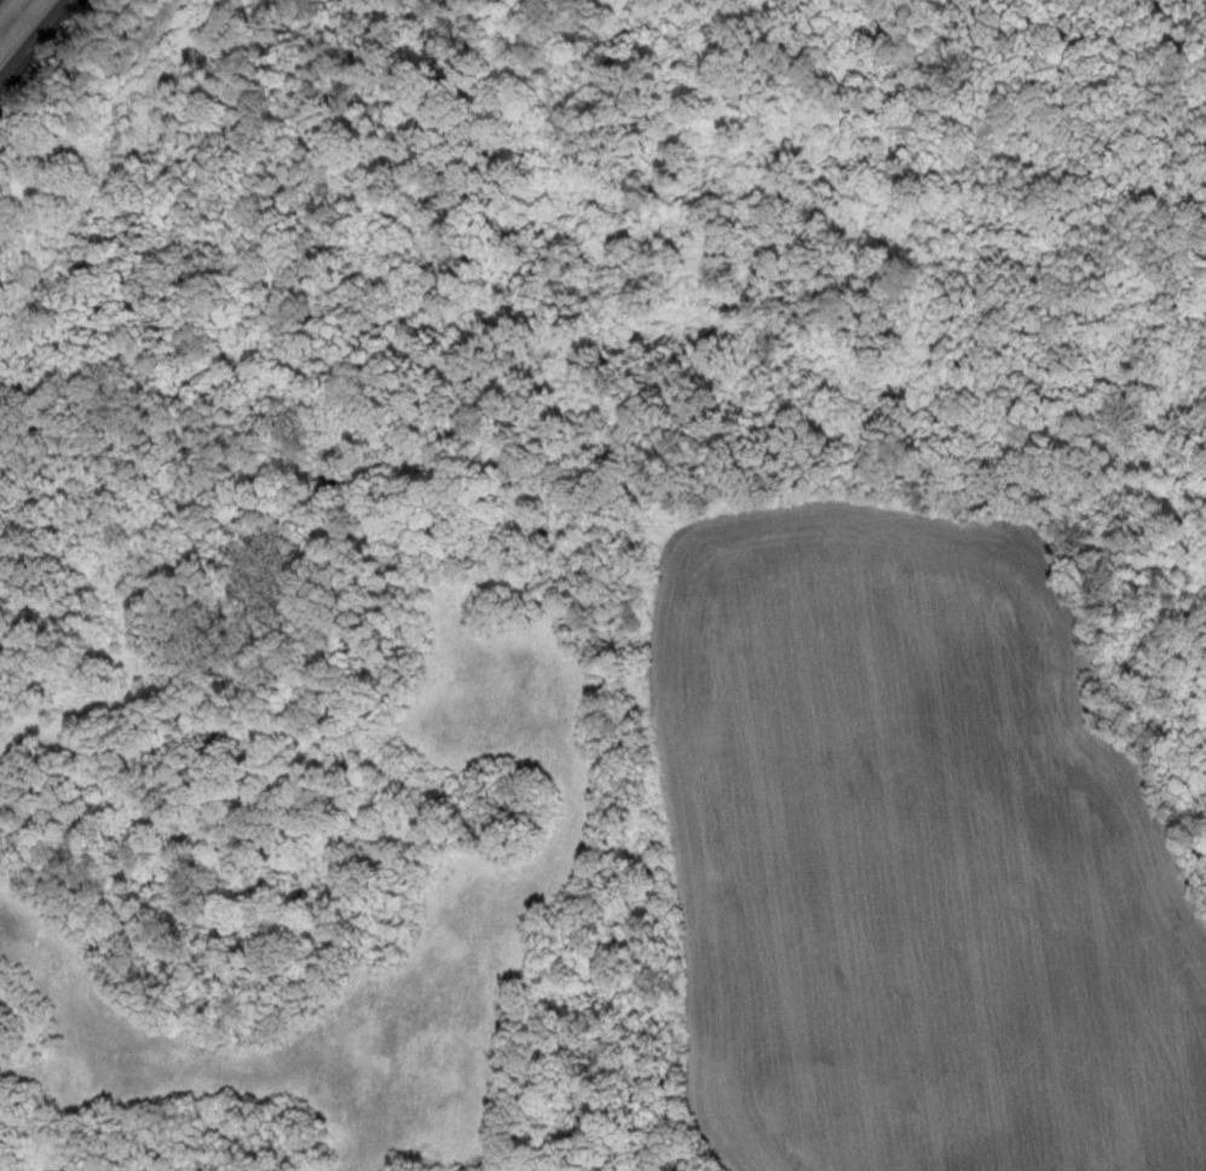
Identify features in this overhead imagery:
road: (33, 40)

